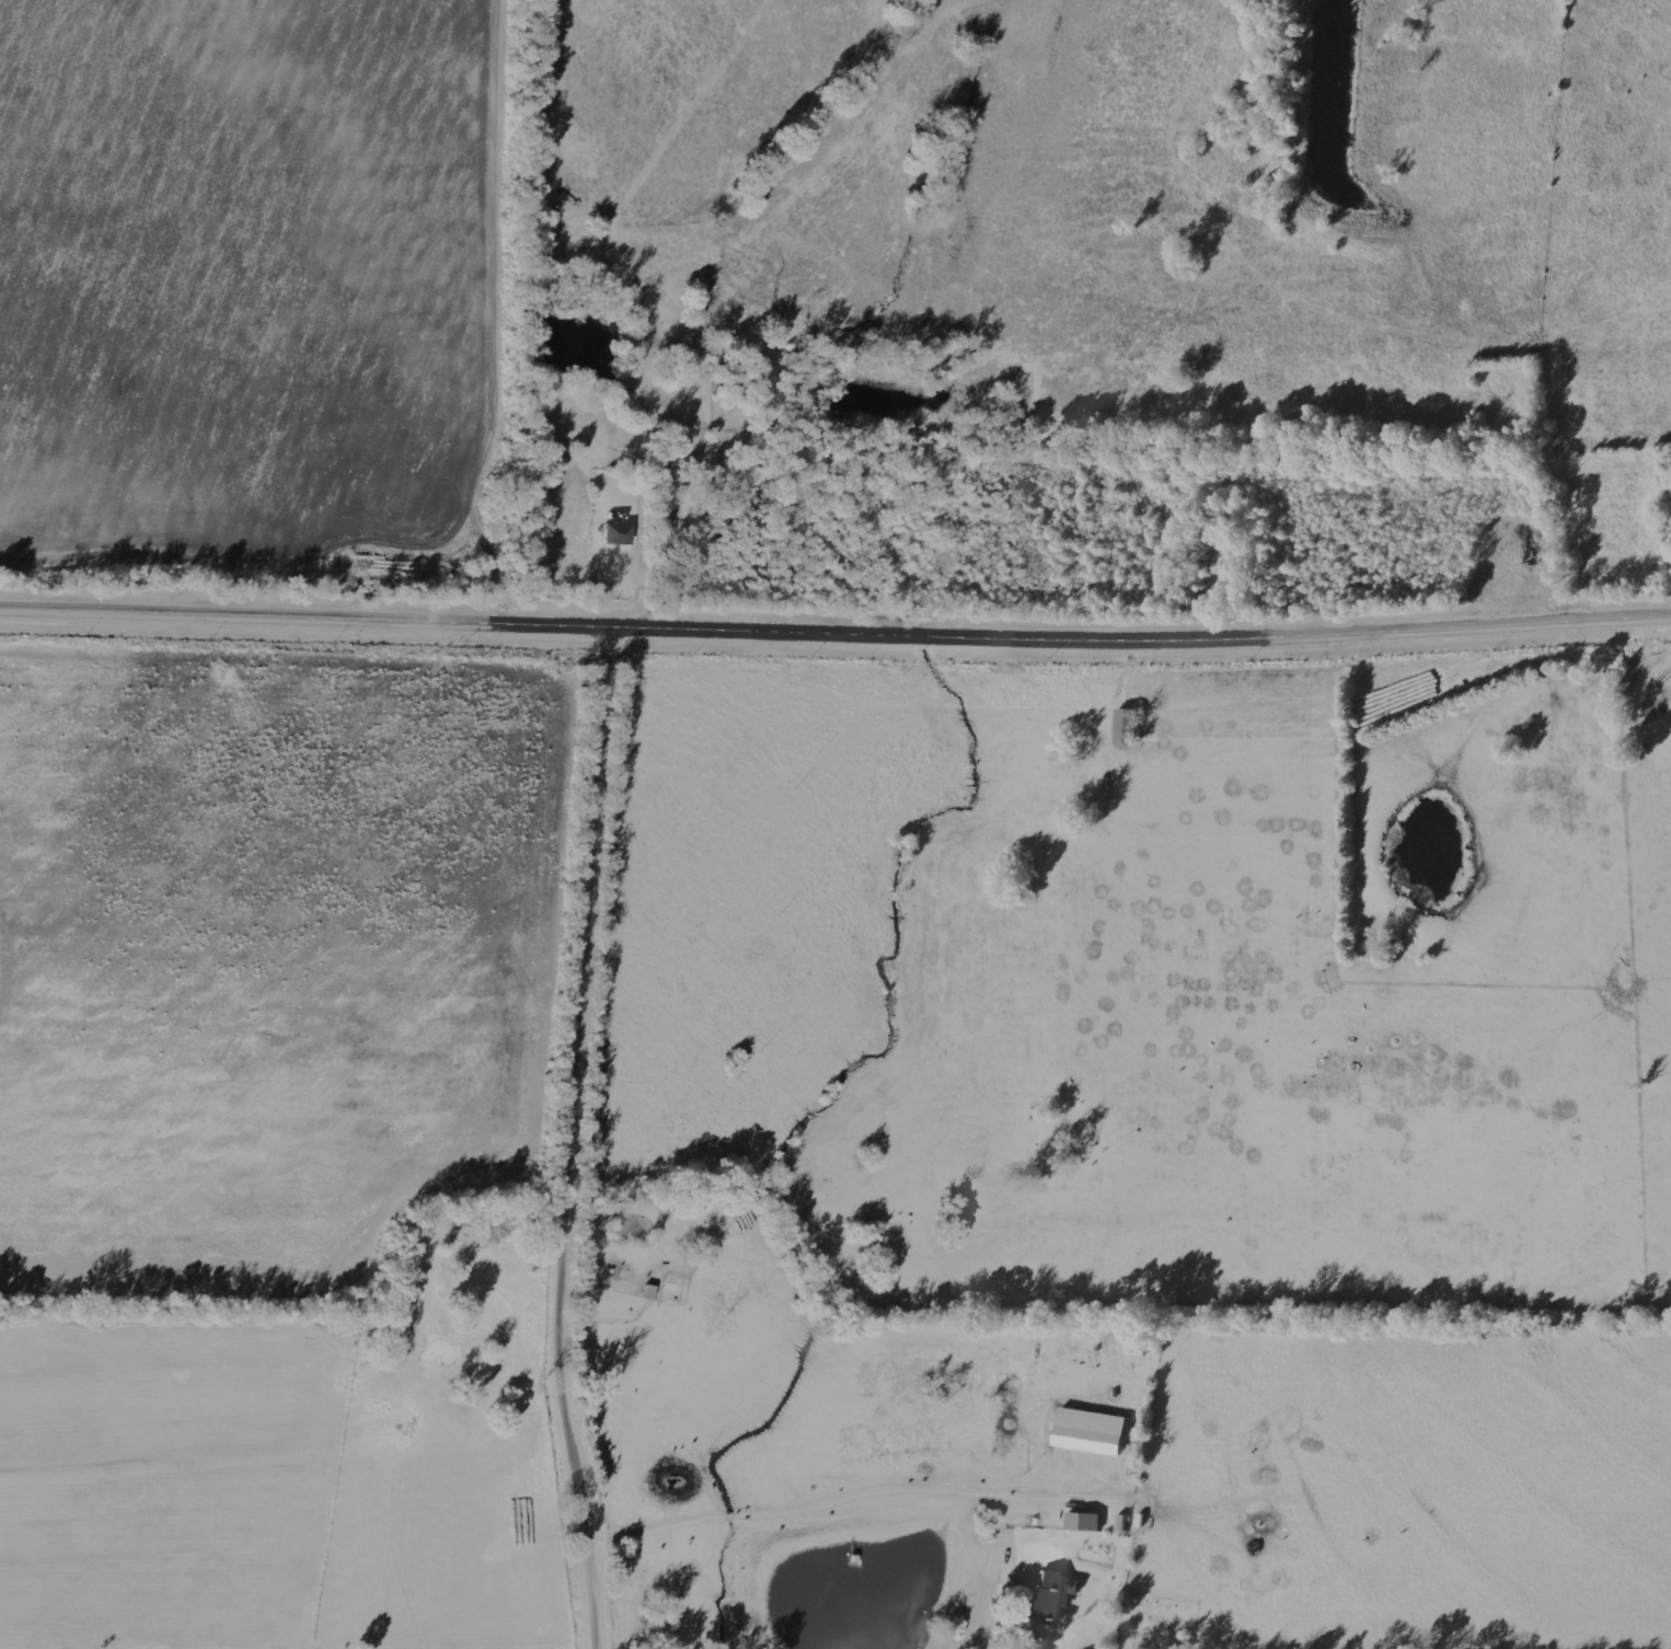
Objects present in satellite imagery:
road: (834, 620)
building: (1126, 726)
road: (576, 1135)
building: (1088, 1431)
building: (1083, 1521)
building: (1121, 1522)
building: (1051, 1599)

